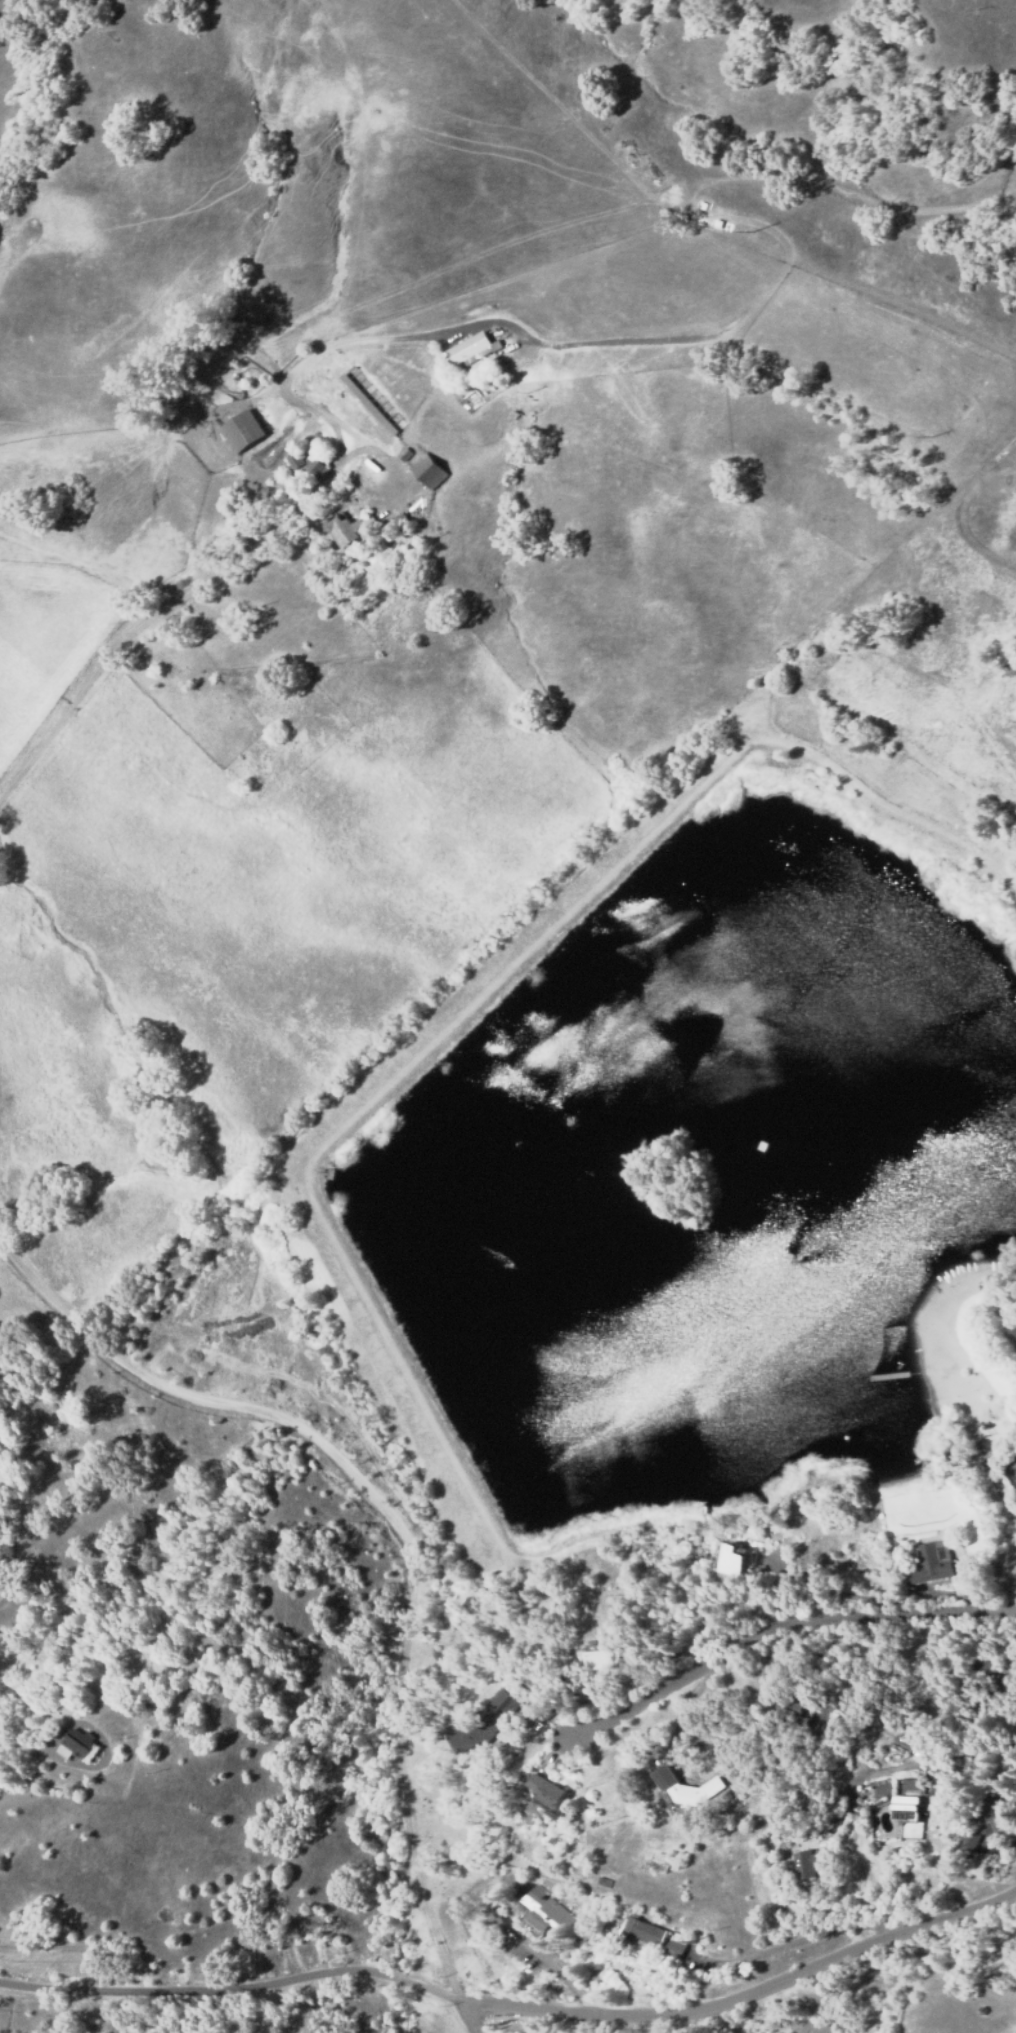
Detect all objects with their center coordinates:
building: (480, 348)
building: (368, 404)
building: (243, 432)
building: (405, 454)
building: (307, 468)
building: (429, 472)
building: (397, 524)
building: (348, 530)
road: (97, 656)
road: (7, 1117)
building: (1013, 1330)
road: (204, 1400)
building: (731, 1562)
building: (929, 1564)
road: (781, 1629)
building: (601, 1663)
building: (981, 1683)
building: (787, 1704)
building: (886, 1708)
building: (485, 1723)
building: (901, 1739)
building: (79, 1746)
building: (783, 1754)
building: (665, 1775)
building: (696, 1790)
building: (547, 1791)
road: (404, 1796)
building: (906, 1808)
building: (986, 1816)
building: (965, 1839)
building: (805, 1865)
building: (546, 1911)
building: (641, 1932)
building: (676, 1944)
road: (516, 2006)

